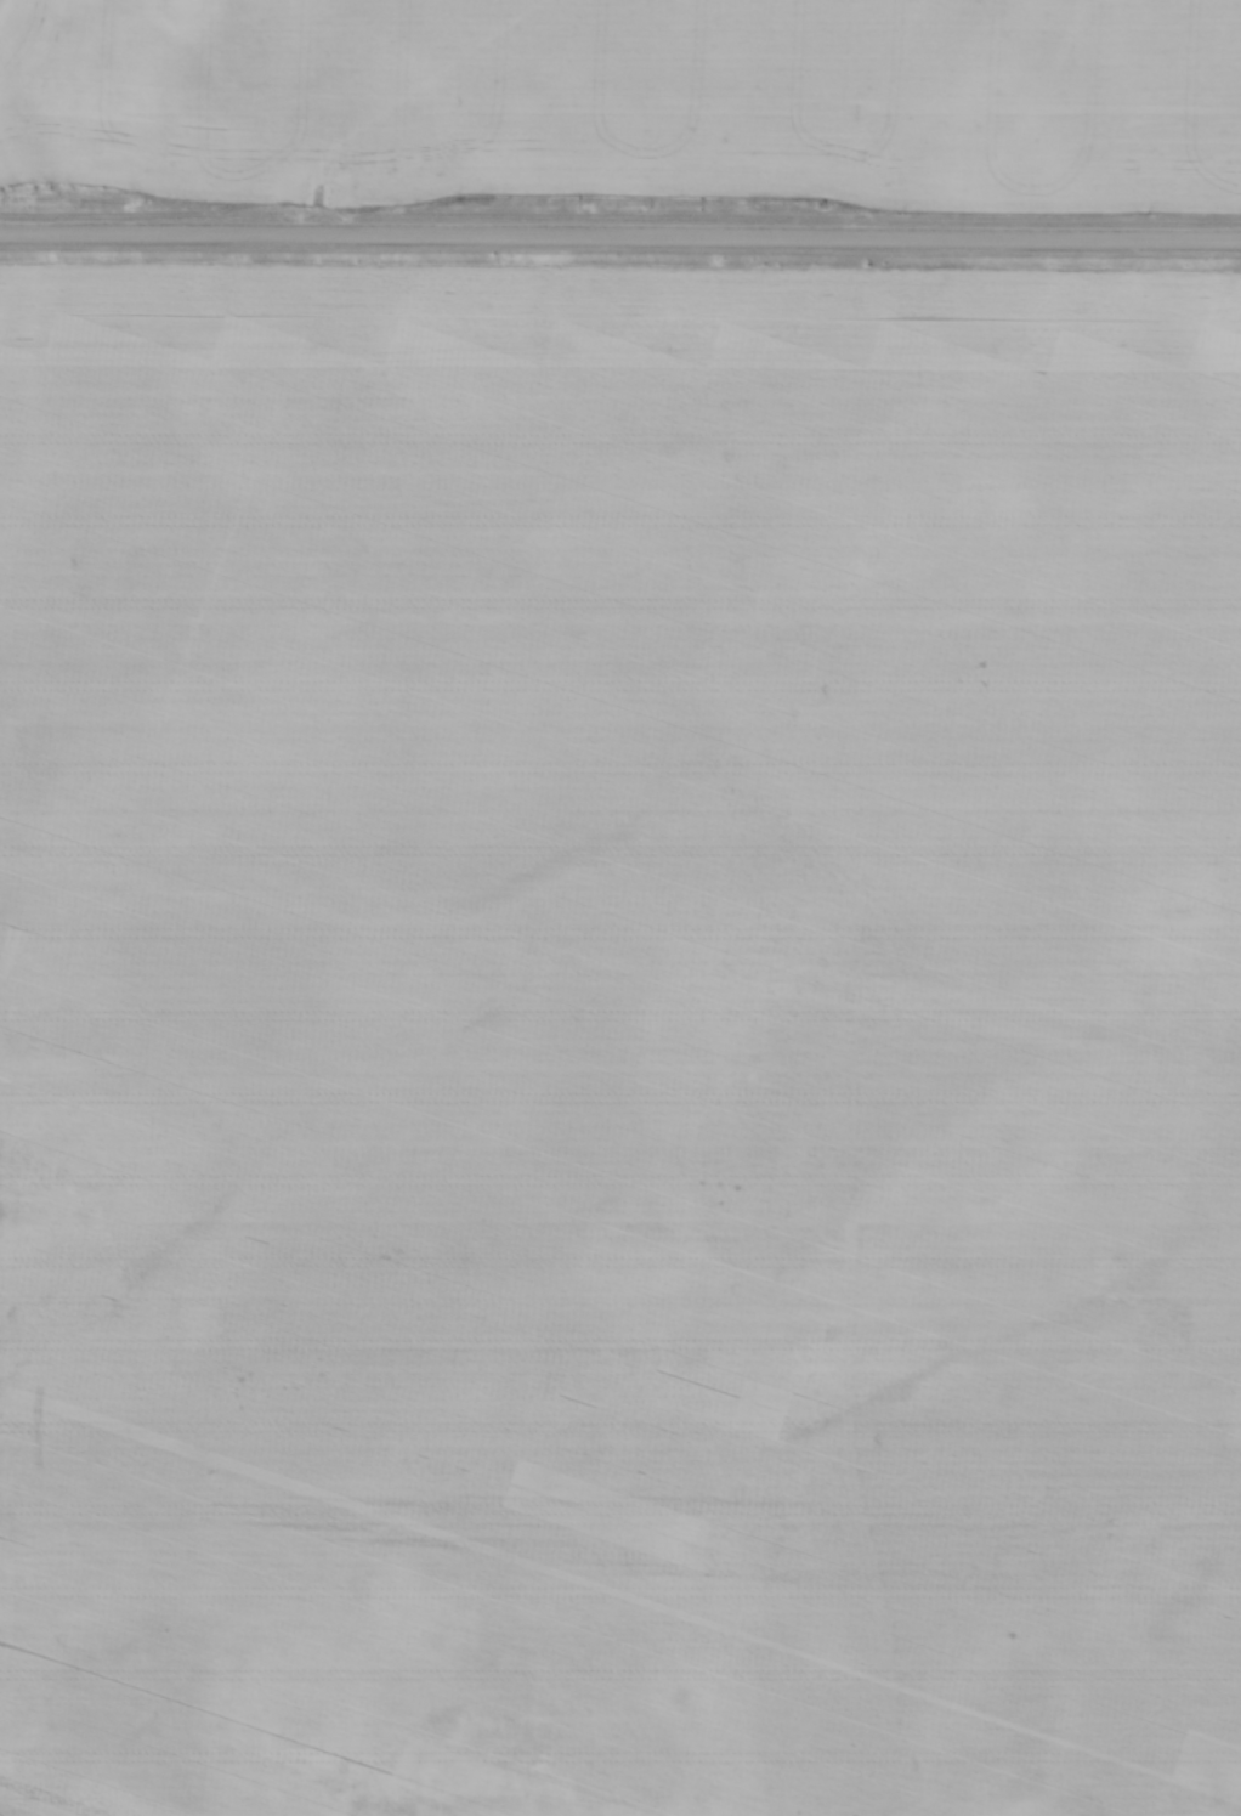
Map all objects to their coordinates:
road: (620, 241)

